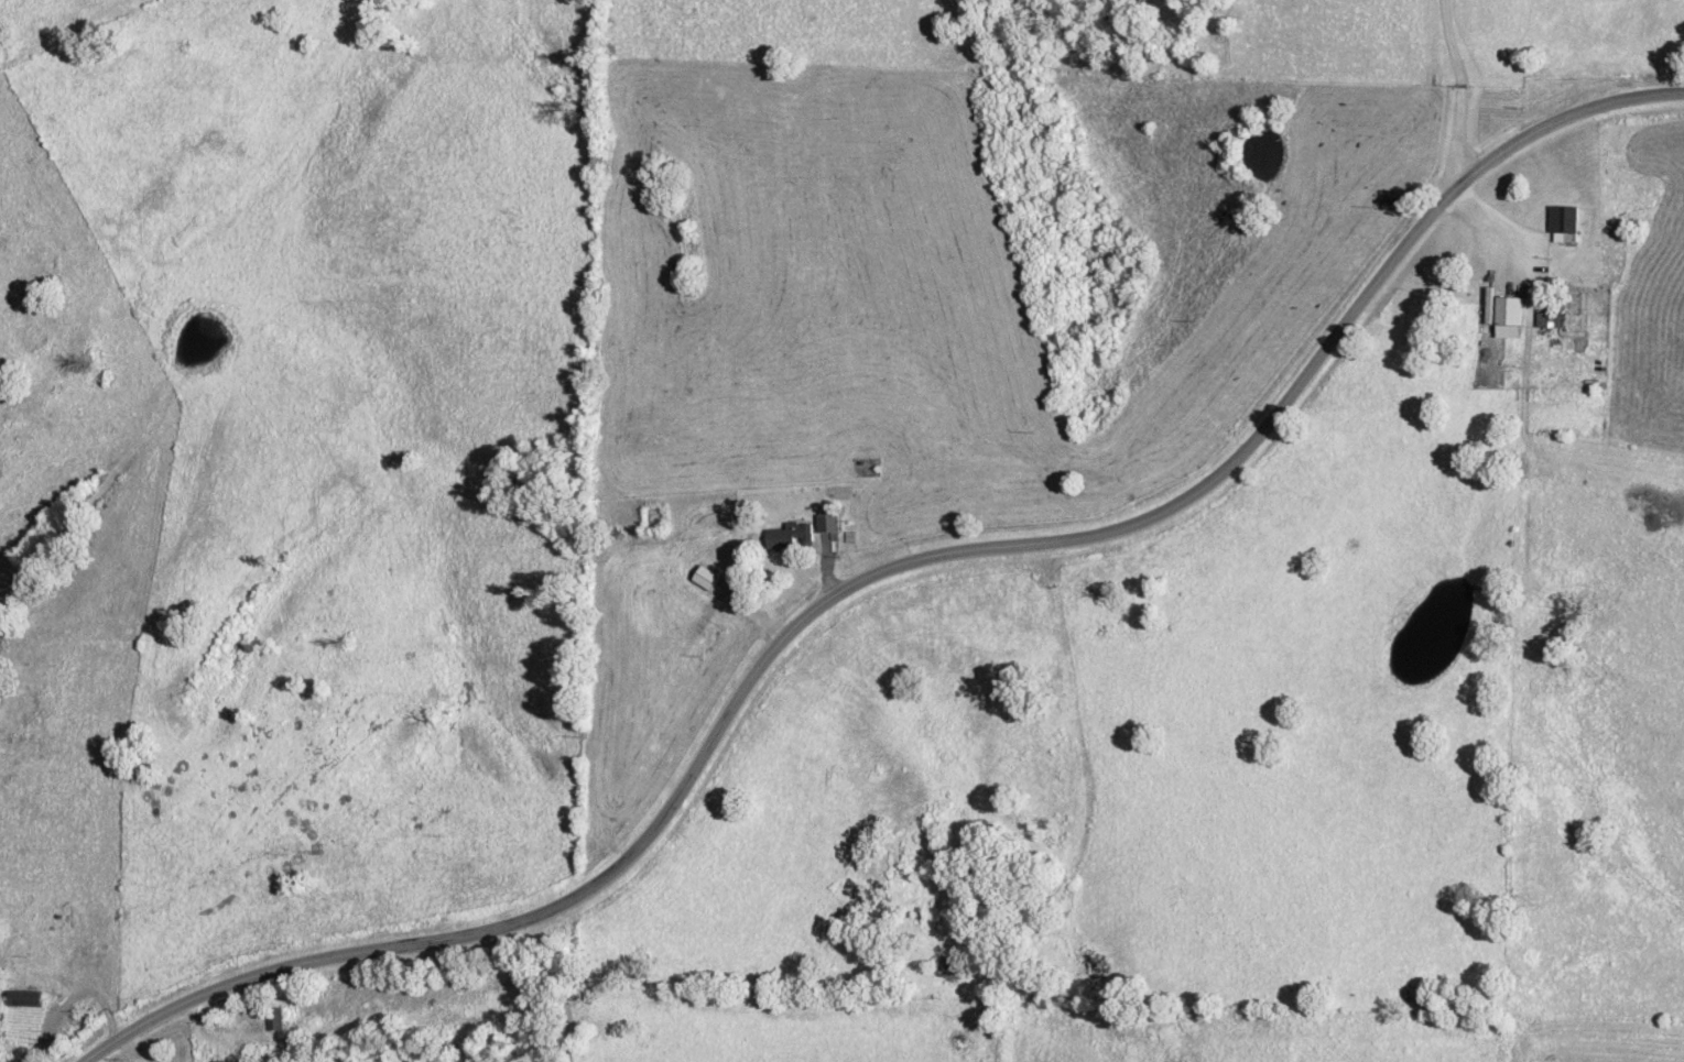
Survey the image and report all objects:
road: (1458, 178)
building: (1561, 225)
building: (1506, 317)
building: (829, 524)
building: (792, 537)
road: (877, 567)
road: (1080, 740)

